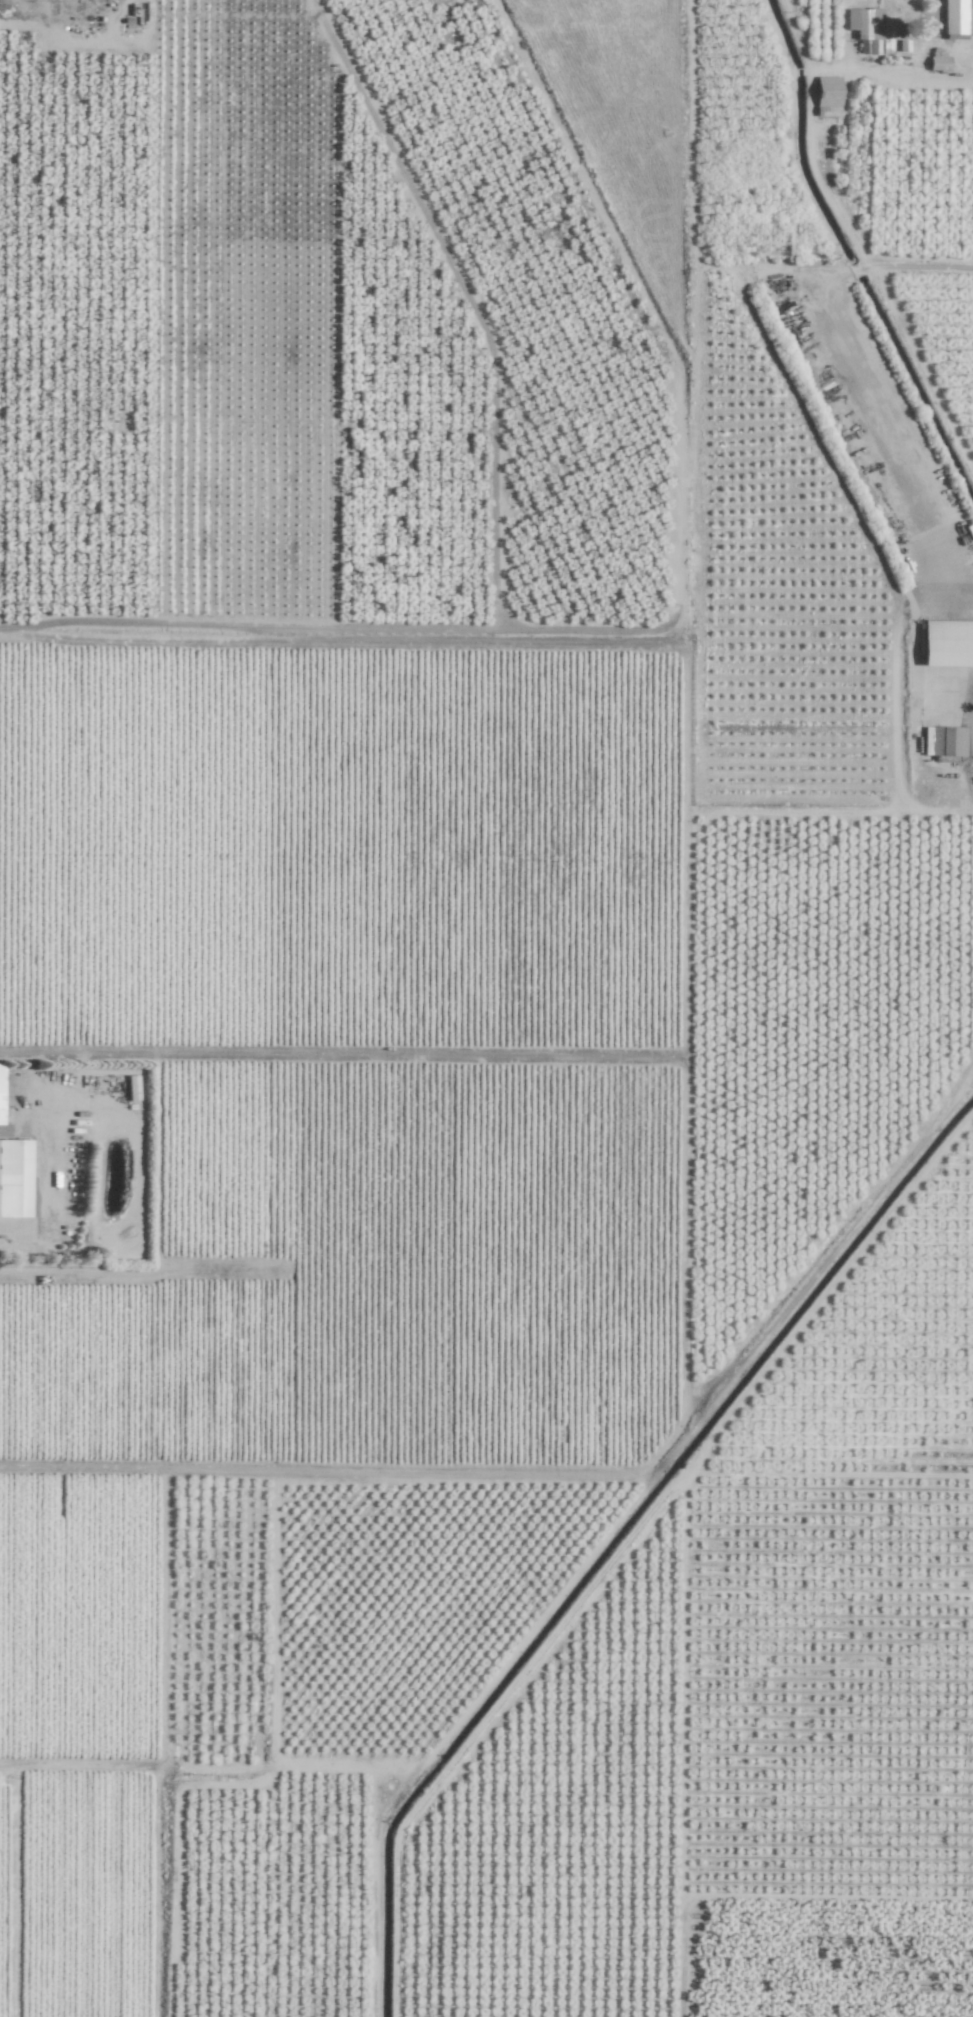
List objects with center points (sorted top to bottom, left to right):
road: (936, 10)
building: (956, 19)
building: (864, 27)
building: (936, 63)
building: (826, 97)
road: (339, 631)
building: (946, 644)
building: (942, 742)
road: (84, 1052)
building: (0, 1089)
building: (14, 1179)
road: (73, 1274)
road: (320, 1472)

